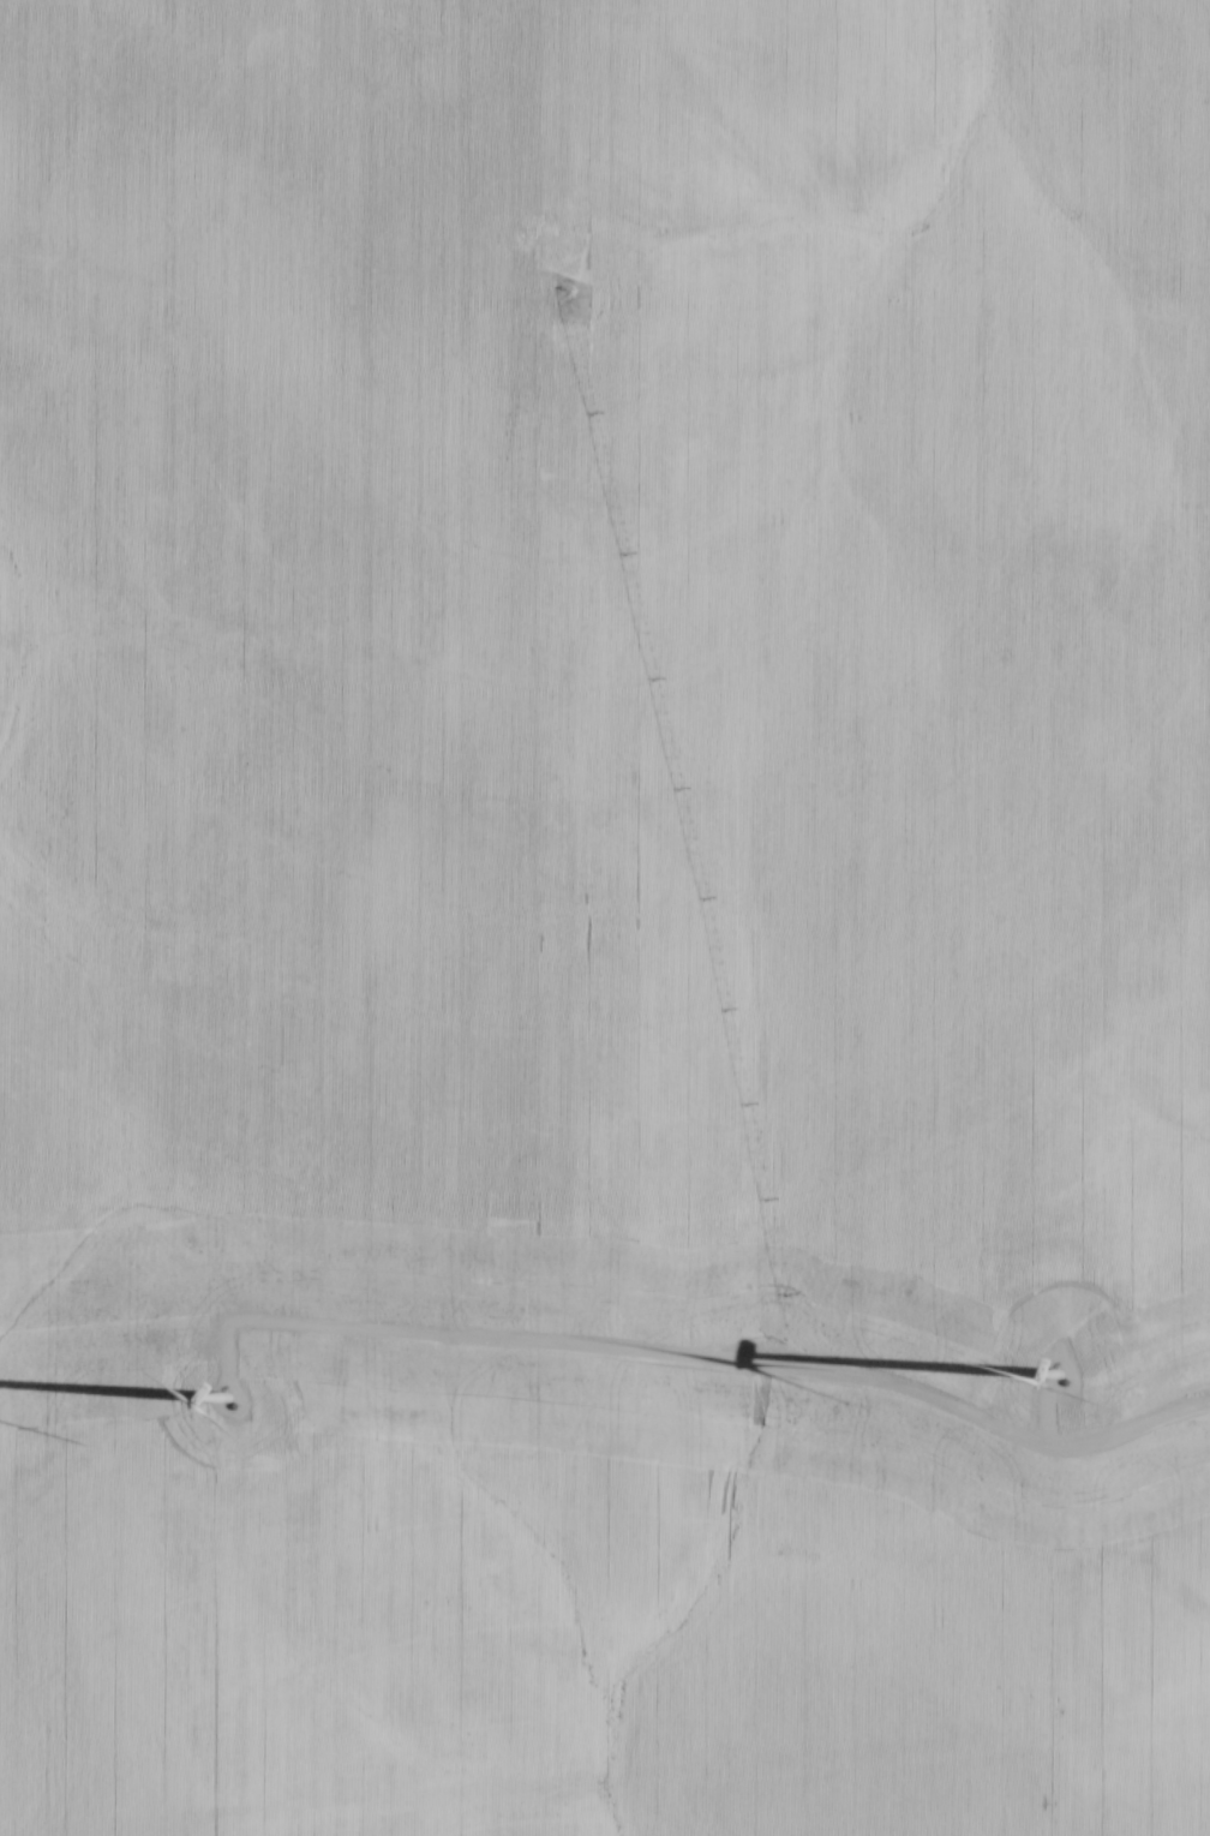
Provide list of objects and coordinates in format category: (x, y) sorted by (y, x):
road: (702, 1358)
wind turbine: (1059, 1372)
wind turbine: (226, 1397)

